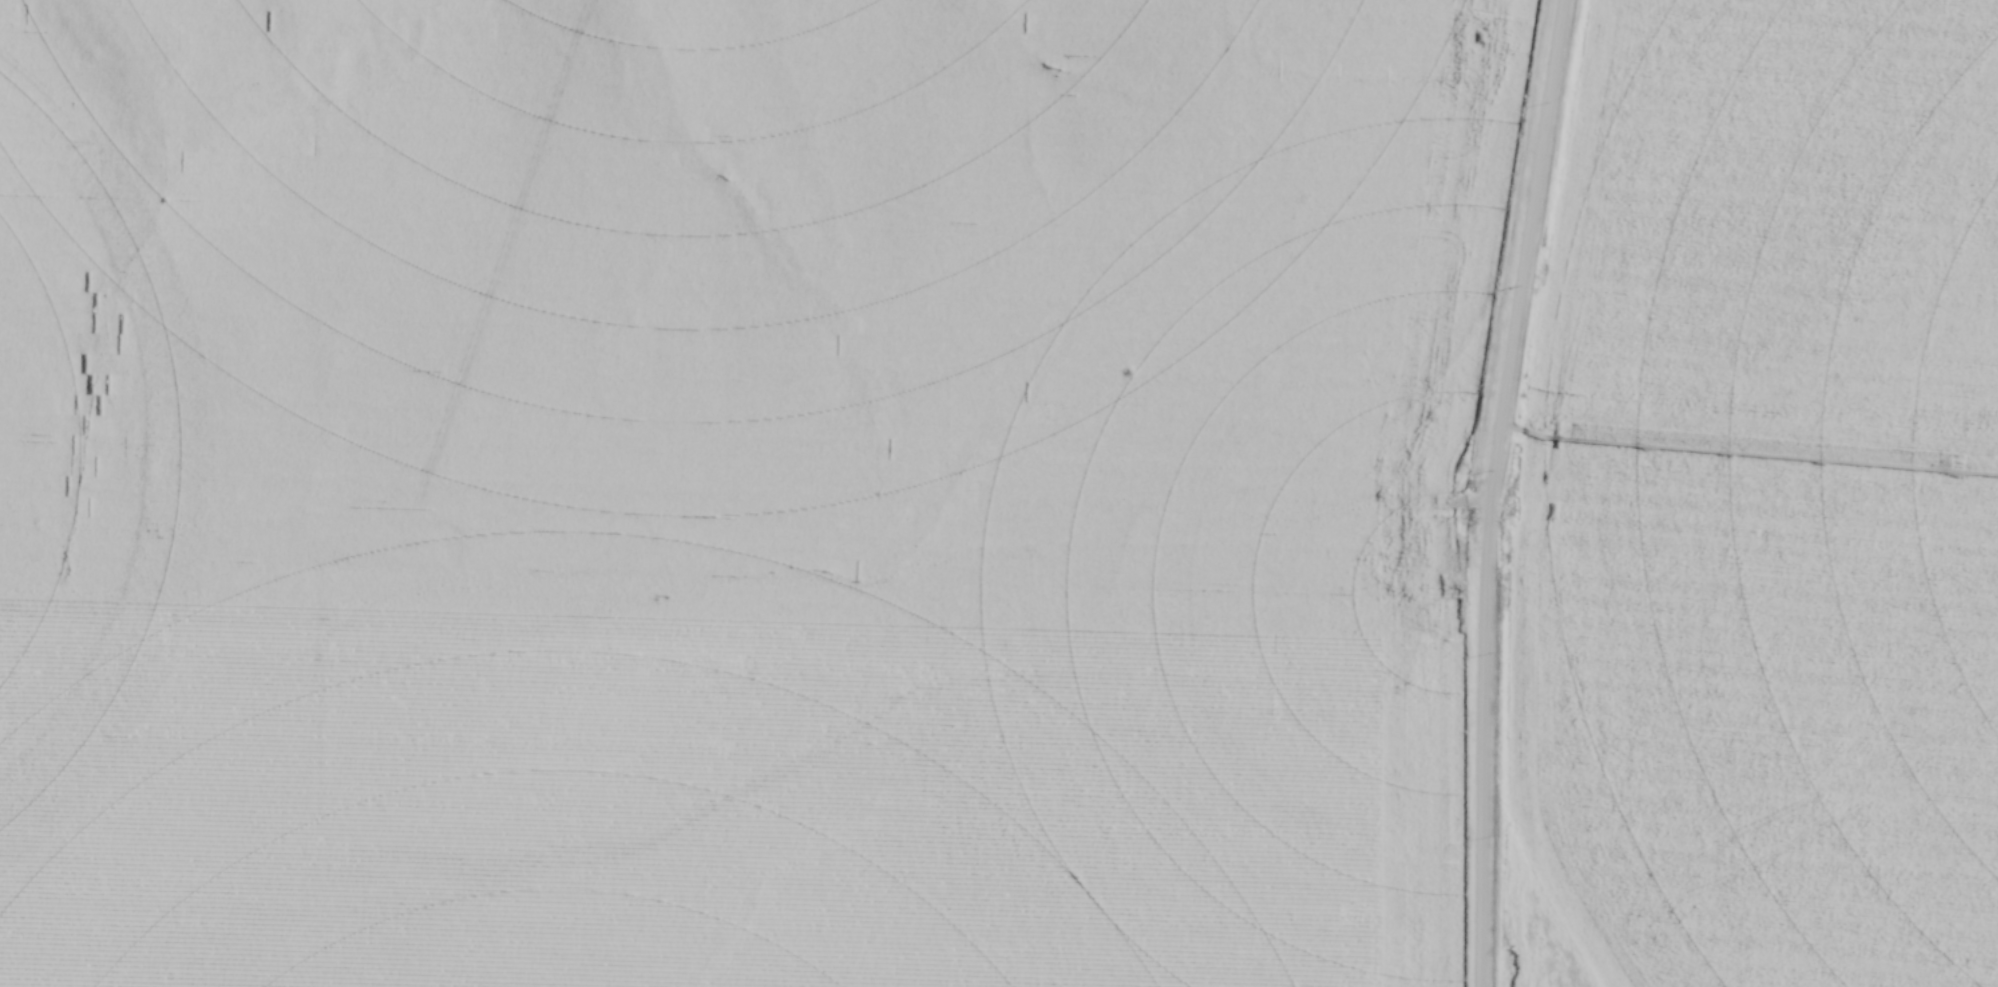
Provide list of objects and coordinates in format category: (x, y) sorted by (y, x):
road: (1491, 490)

